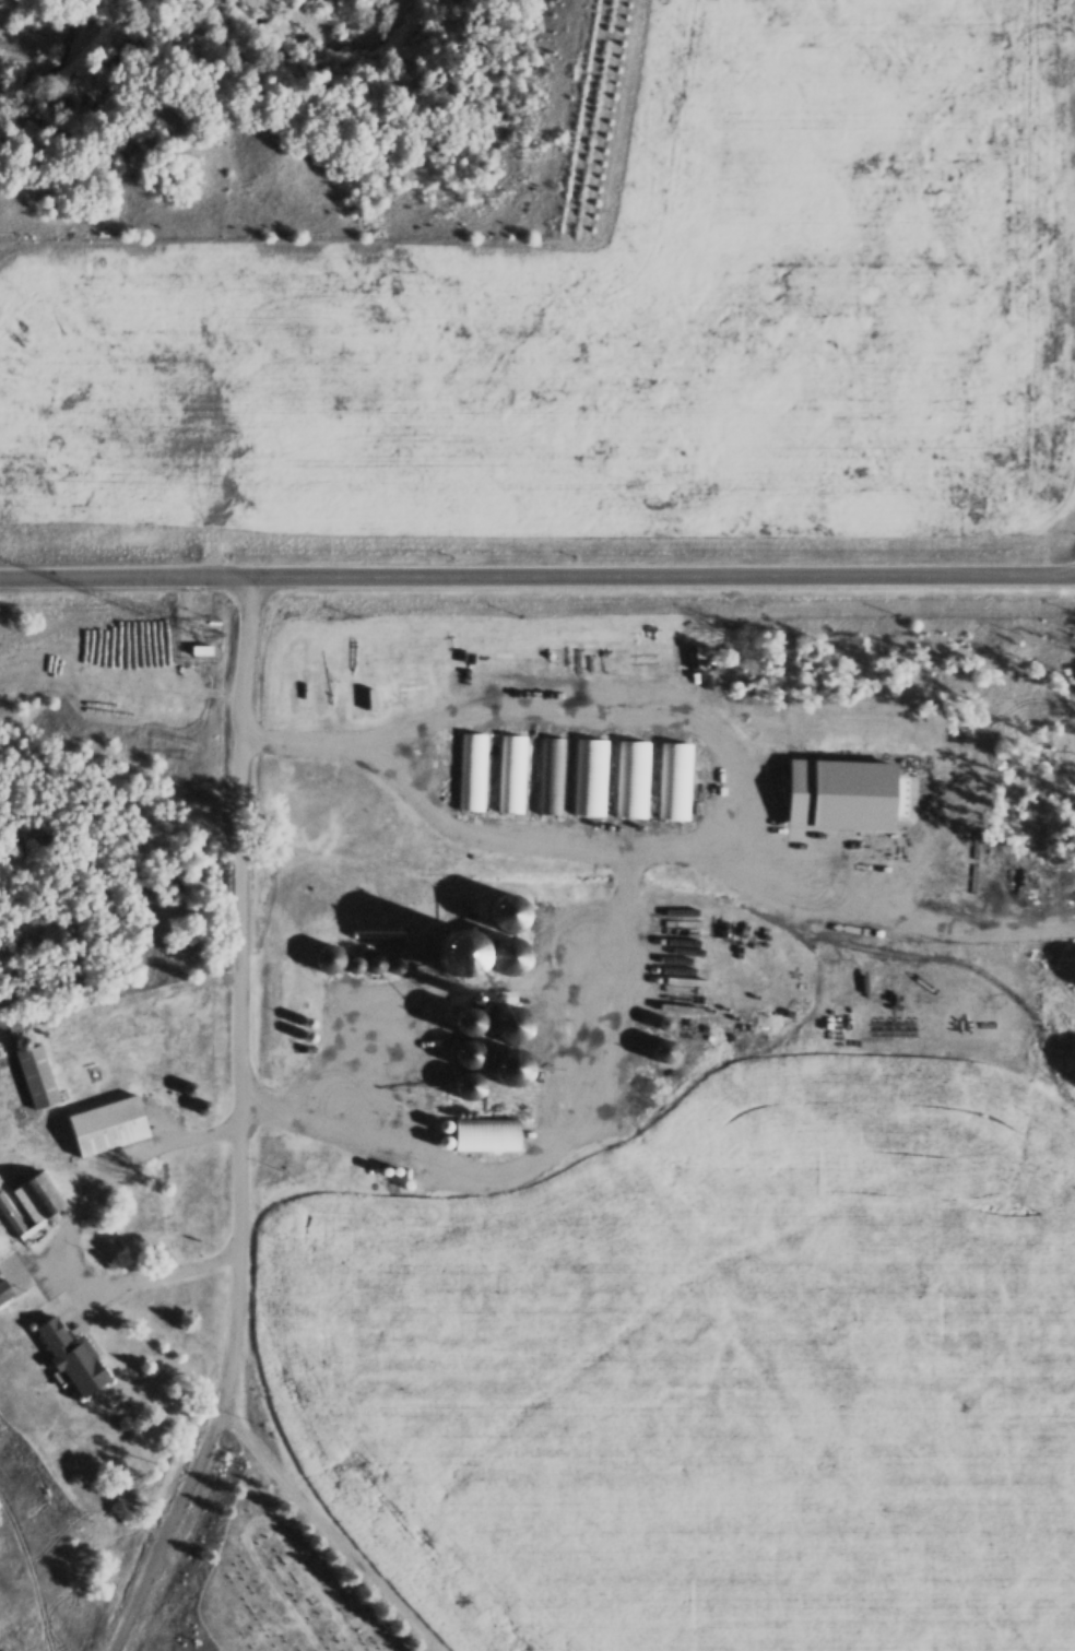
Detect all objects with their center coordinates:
building: (388, 286)
building: (897, 287)
building: (391, 317)
building: (388, 346)
building: (386, 379)
building: (385, 413)
building: (382, 445)
building: (382, 474)
road: (536, 568)
building: (385, 656)
building: (319, 664)
building: (482, 764)
building: (522, 764)
building: (562, 766)
building: (601, 767)
building: (643, 768)
building: (685, 771)
building: (855, 782)
building: (518, 905)
silo: (518, 905)
building: (425, 941)
silo: (425, 941)
building: (519, 947)
silo: (519, 947)
building: (339, 952)
silo: (339, 952)
building: (481, 953)
silo: (481, 953)
building: (387, 955)
silo: (387, 955)
building: (409, 955)
silo: (409, 955)
building: (365, 956)
silo: (365, 956)
building: (481, 1007)
silo: (481, 1007)
building: (523, 1010)
silo: (523, 1010)
building: (469, 1022)
building: (512, 1025)
building: (34, 1029)
silo: (34, 1029)
building: (482, 1042)
silo: (482, 1042)
building: (524, 1054)
silo: (524, 1054)
building: (471, 1056)
building: (507, 1064)
building: (52, 1066)
building: (36, 1074)
building: (483, 1076)
silo: (483, 1076)
building: (203, 1081)
silo: (203, 1081)
building: (471, 1086)
building: (217, 1096)
silo: (217, 1096)
building: (122, 1115)
road: (249, 1123)
building: (503, 1127)
building: (37, 1198)
building: (11, 1276)
building: (90, 1344)
building: (74, 1358)
road: (261, 1518)
road: (334, 1525)
park: (272, 1572)
road: (427, 1646)

